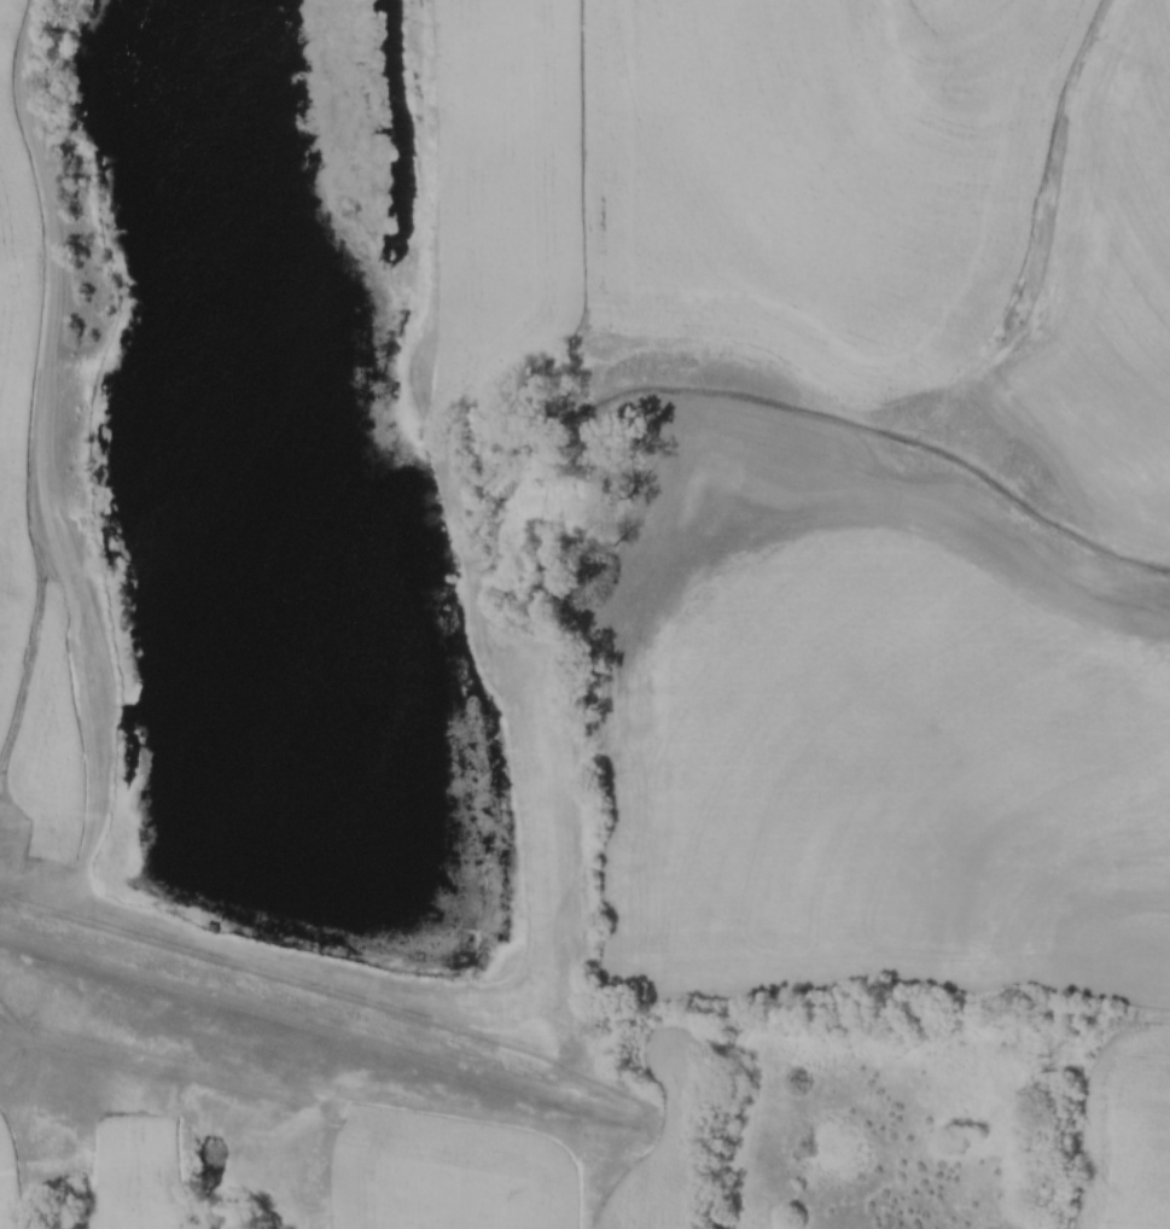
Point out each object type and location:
crop: (660, 1142)

